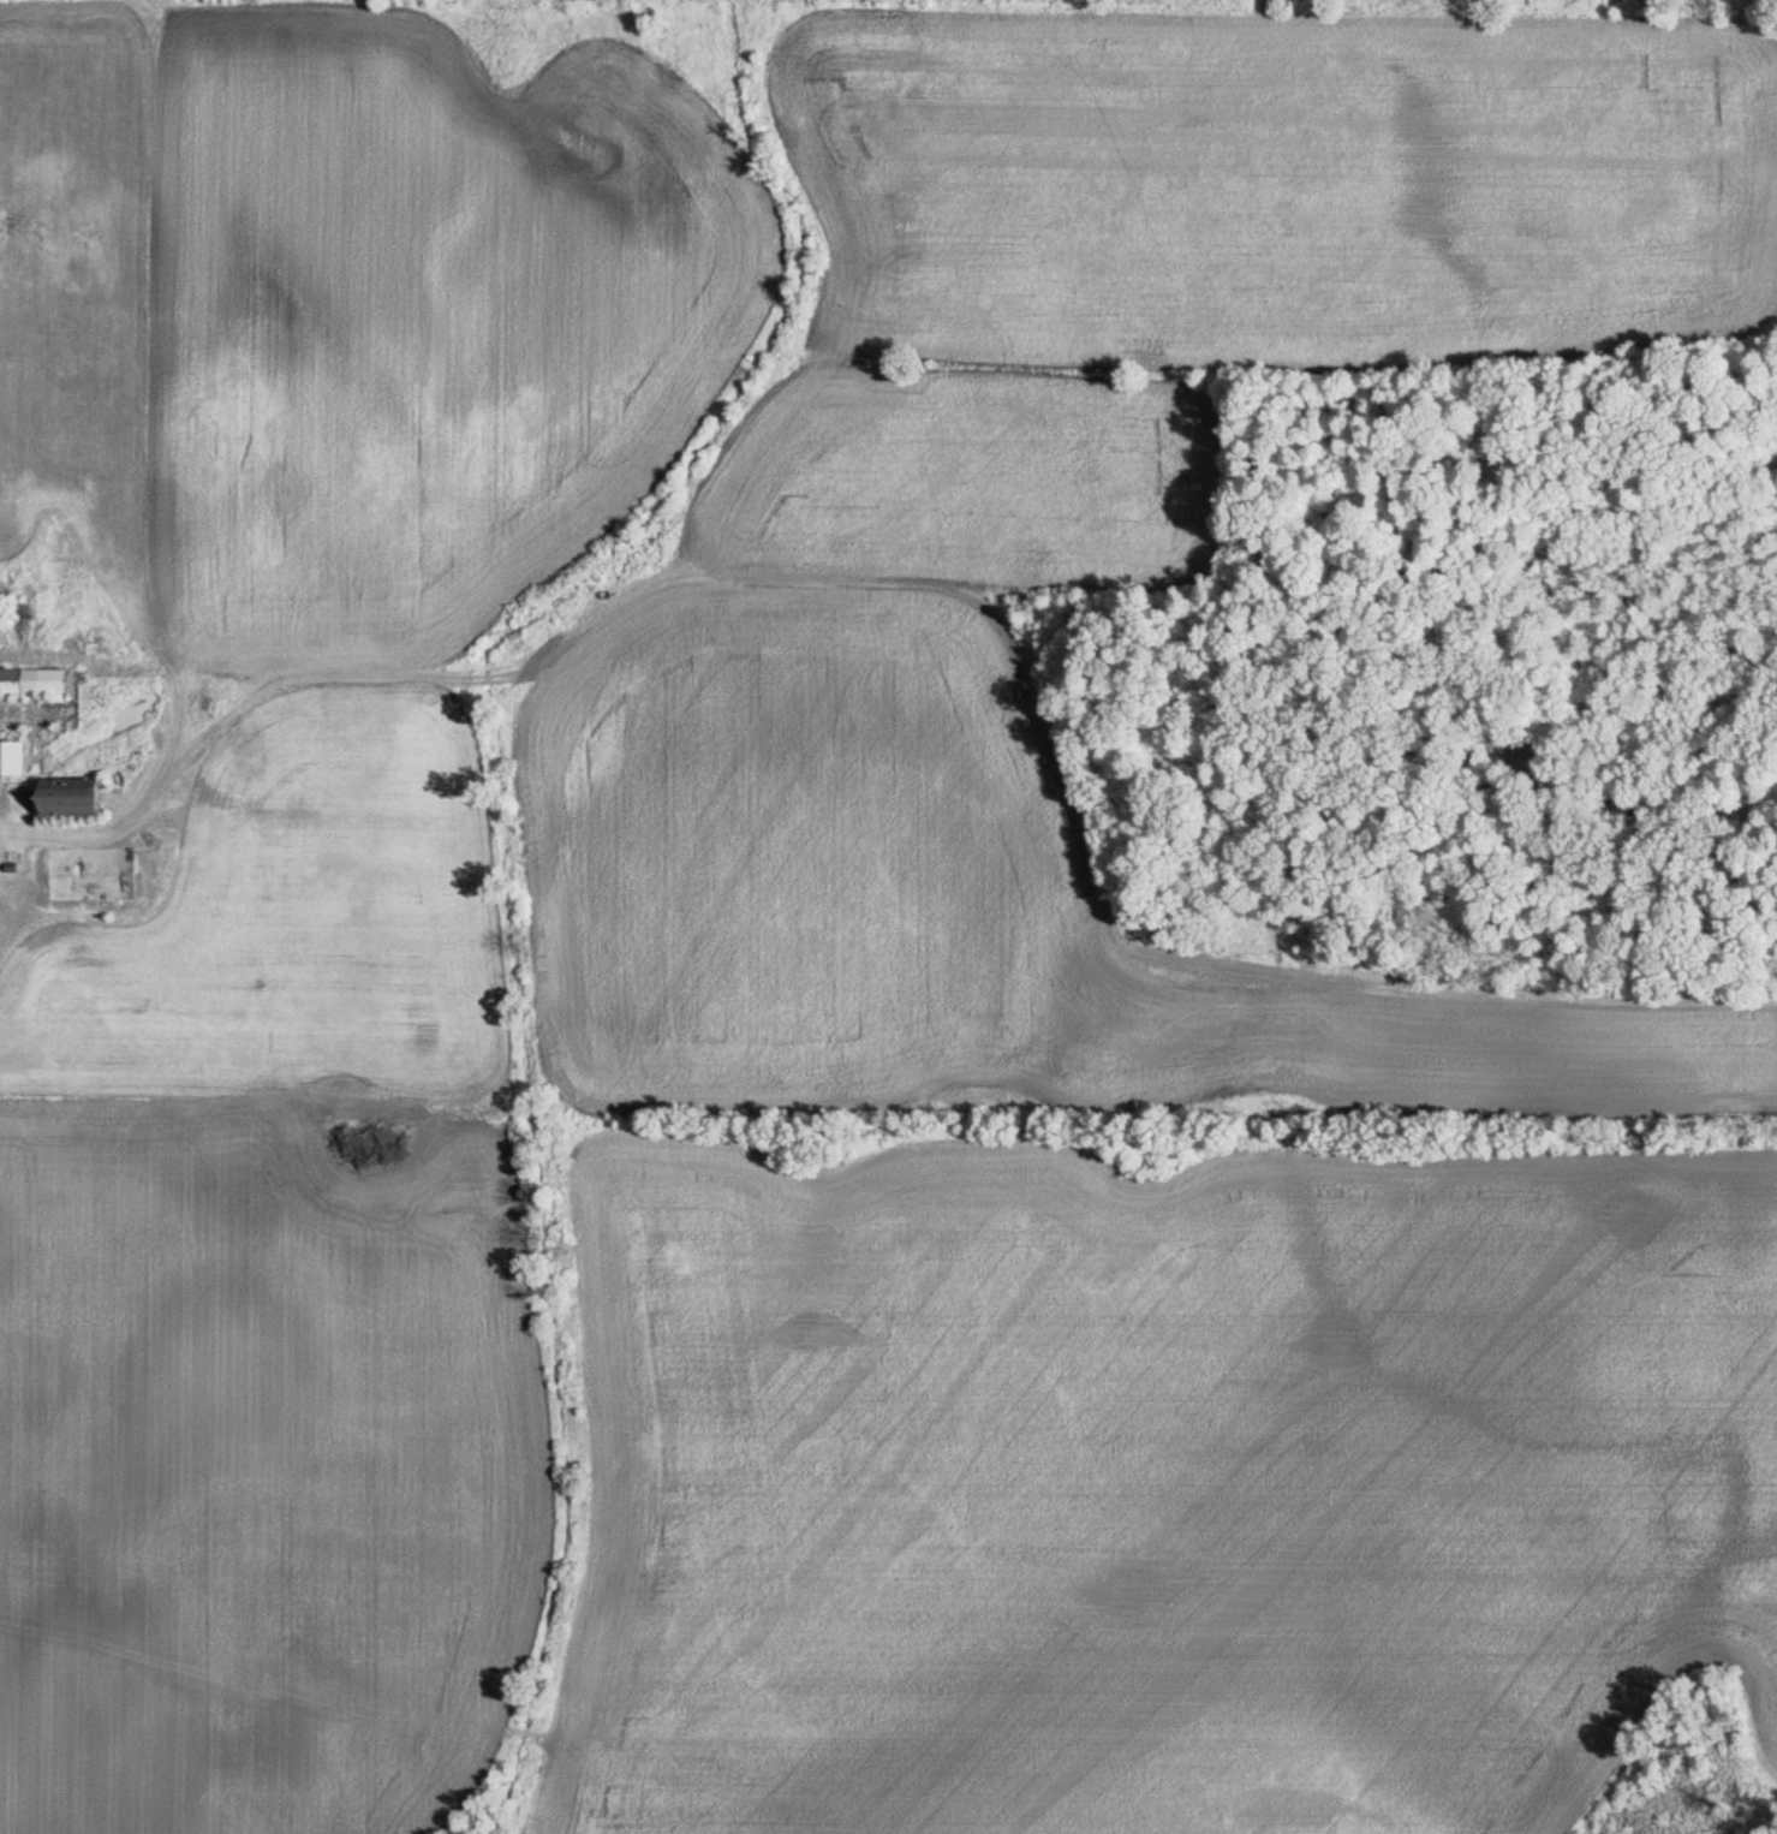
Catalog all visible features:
building: (7, 627)
building: (25, 715)
building: (83, 800)
road: (91, 834)

